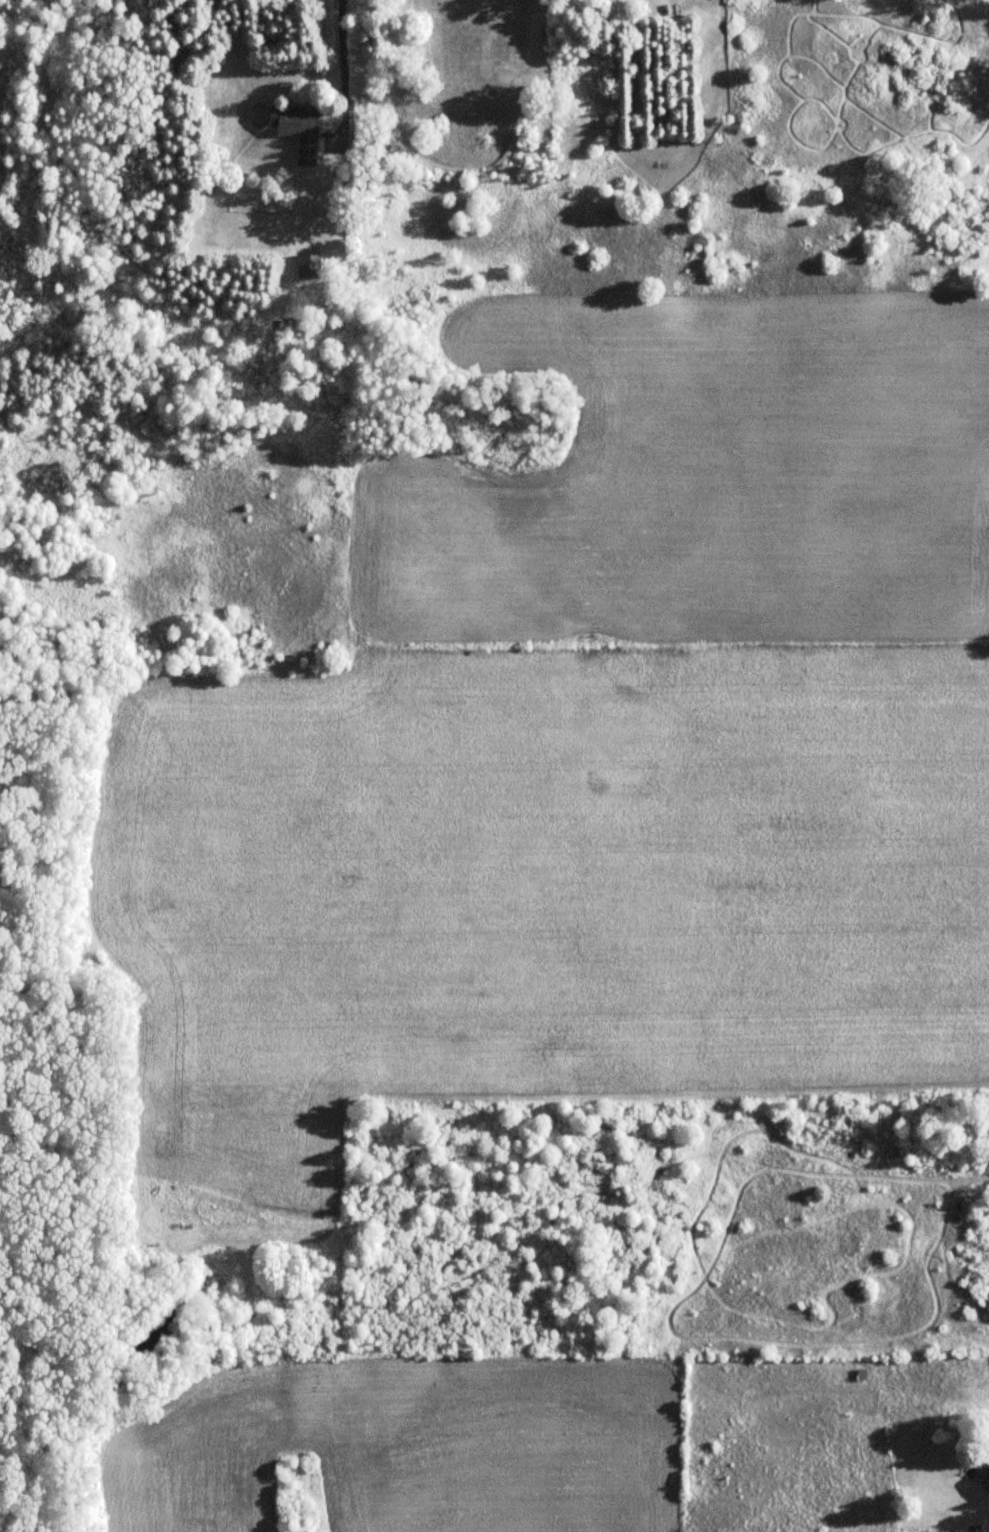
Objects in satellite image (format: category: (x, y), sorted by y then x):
road: (341, 46)
building: (294, 117)
building: (307, 146)
building: (309, 265)
building: (988, 1471)

